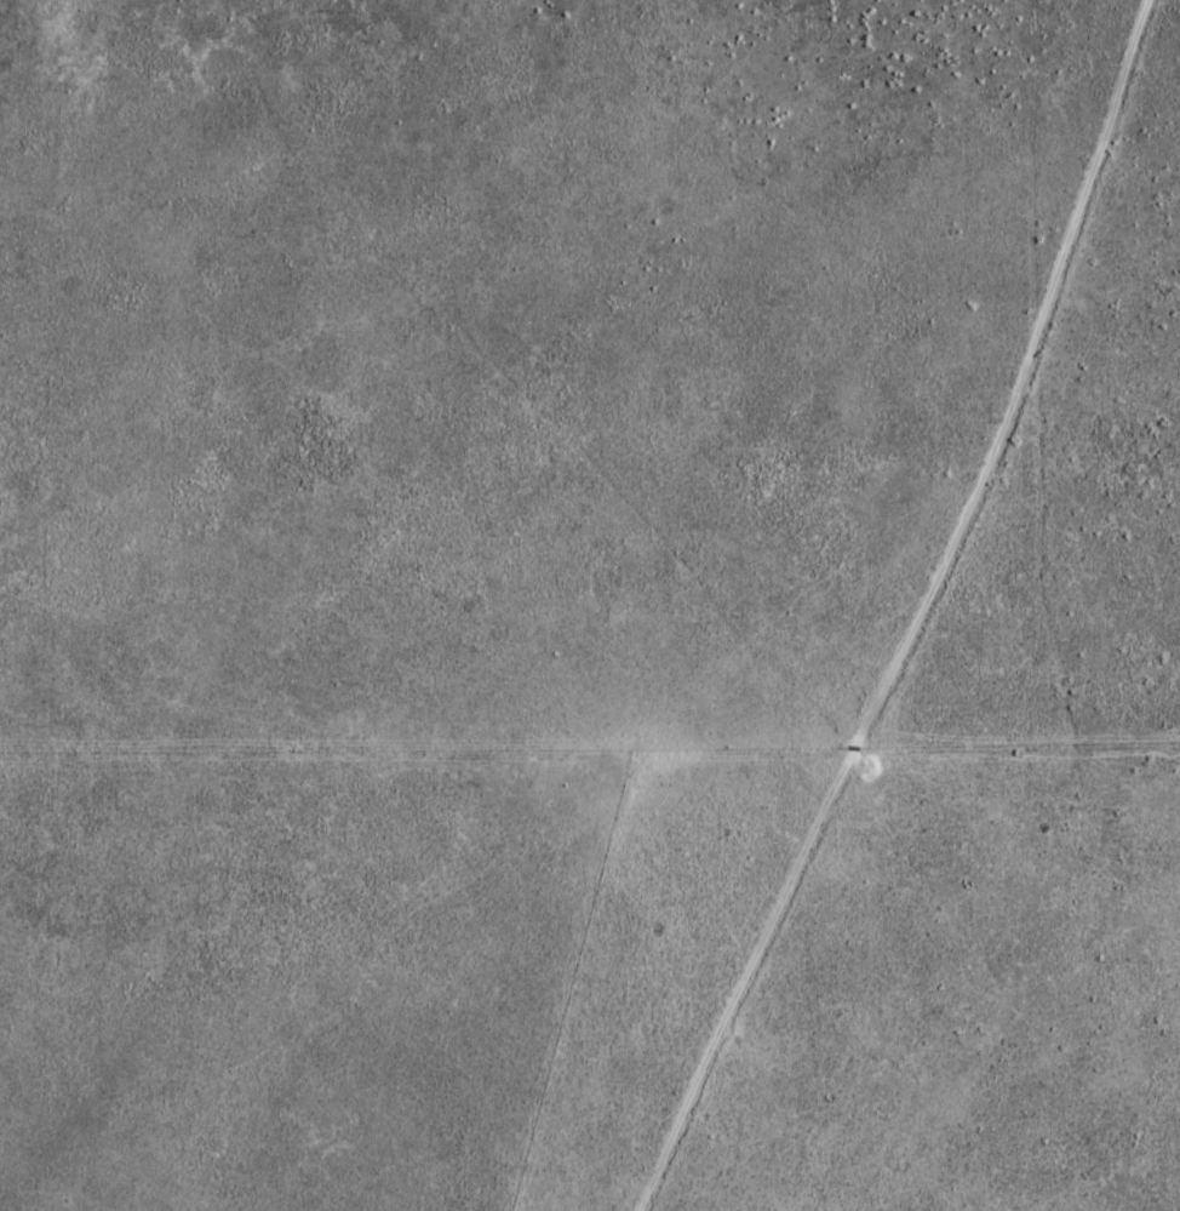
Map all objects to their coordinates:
road: (878, 599)

